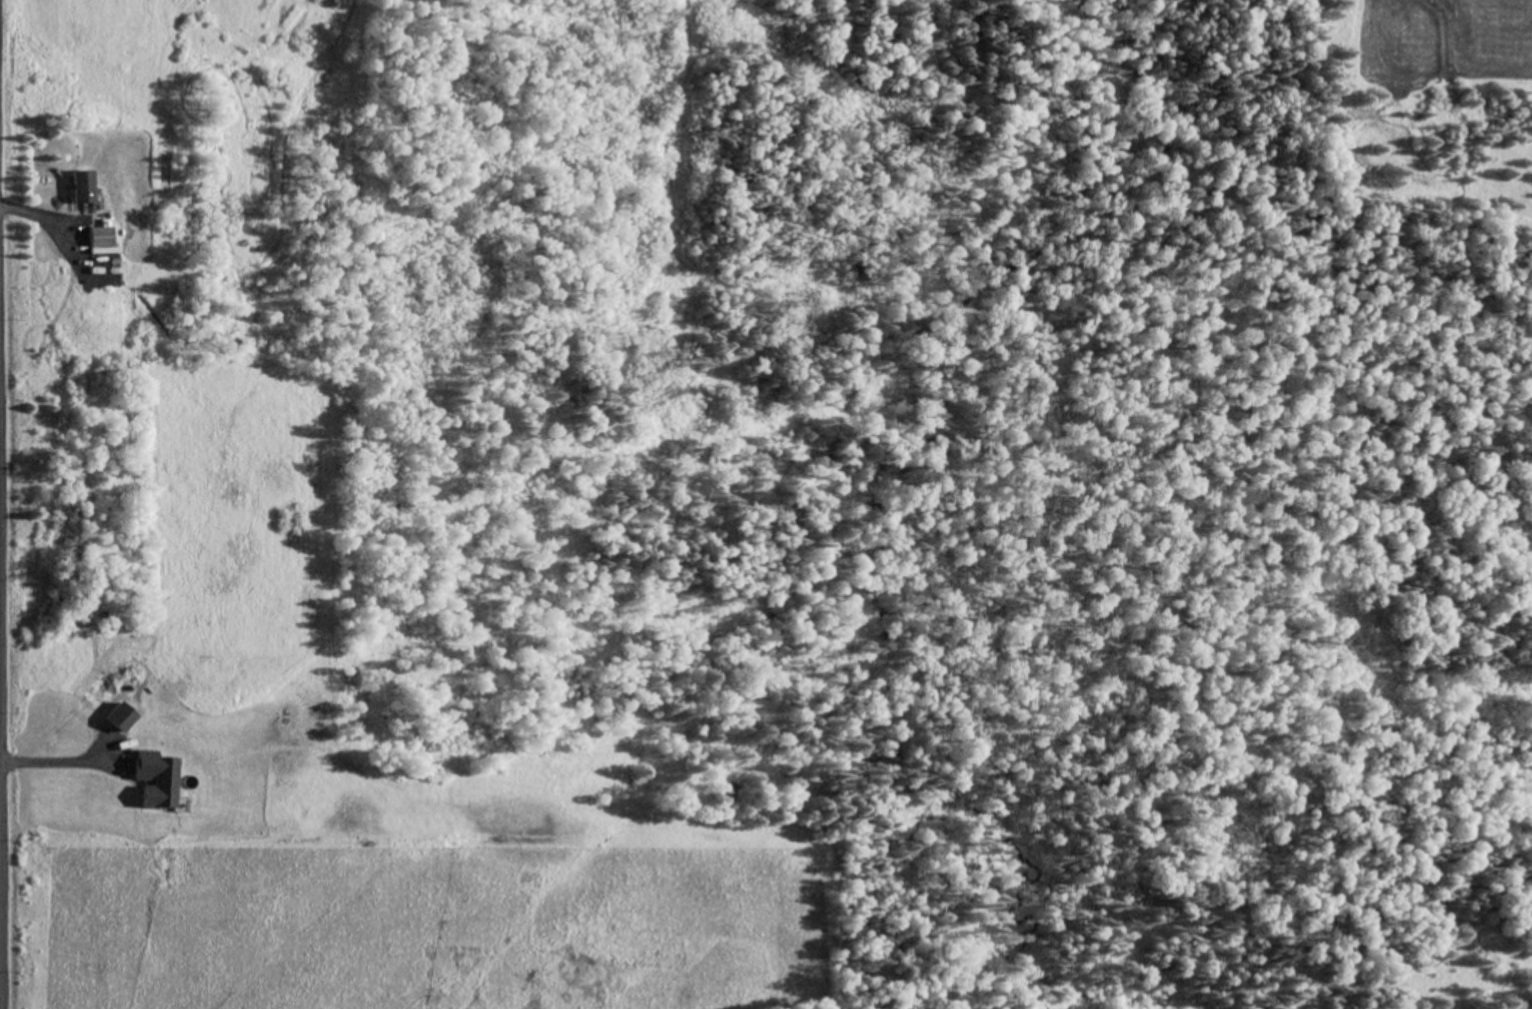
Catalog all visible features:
building: (77, 187)
building: (95, 241)
building: (115, 718)
building: (151, 780)
crop: (408, 922)

